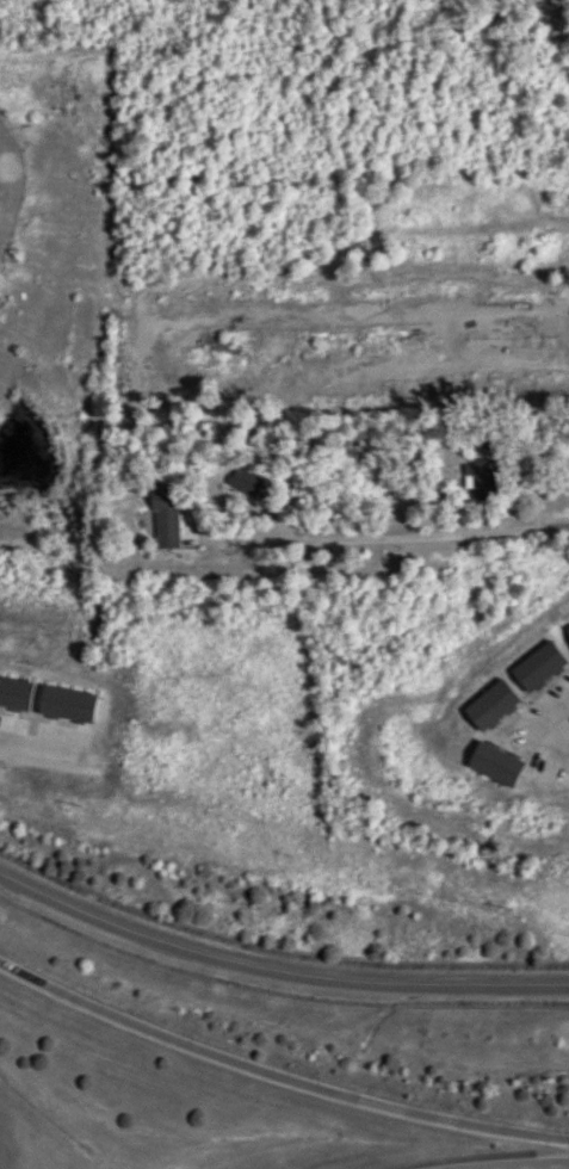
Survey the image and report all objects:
building: (481, 480)
building: (163, 518)
road: (385, 538)
road: (277, 973)
road: (278, 1069)
road: (517, 1162)

